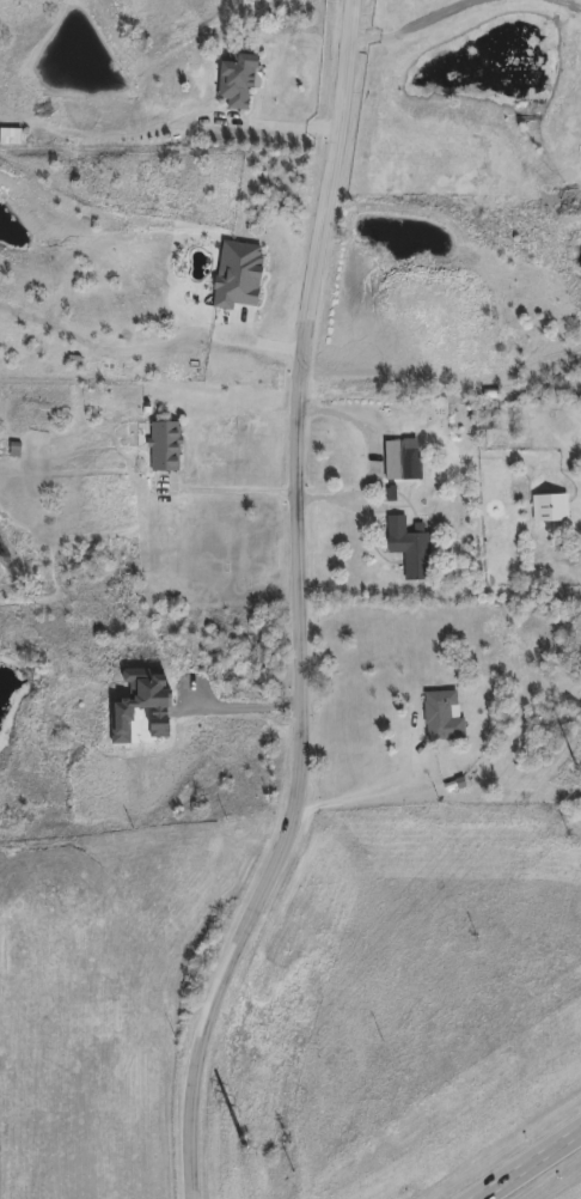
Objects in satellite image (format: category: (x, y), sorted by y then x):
building: (237, 79)
road: (285, 124)
building: (10, 134)
road: (259, 343)
building: (485, 421)
building: (439, 426)
building: (487, 426)
building: (163, 444)
building: (396, 455)
road: (369, 462)
road: (239, 489)
building: (408, 546)
road: (312, 609)
building: (441, 711)
road: (250, 718)
power tower: (576, 772)
road: (379, 792)
power tower: (243, 1149)
road: (526, 1164)

